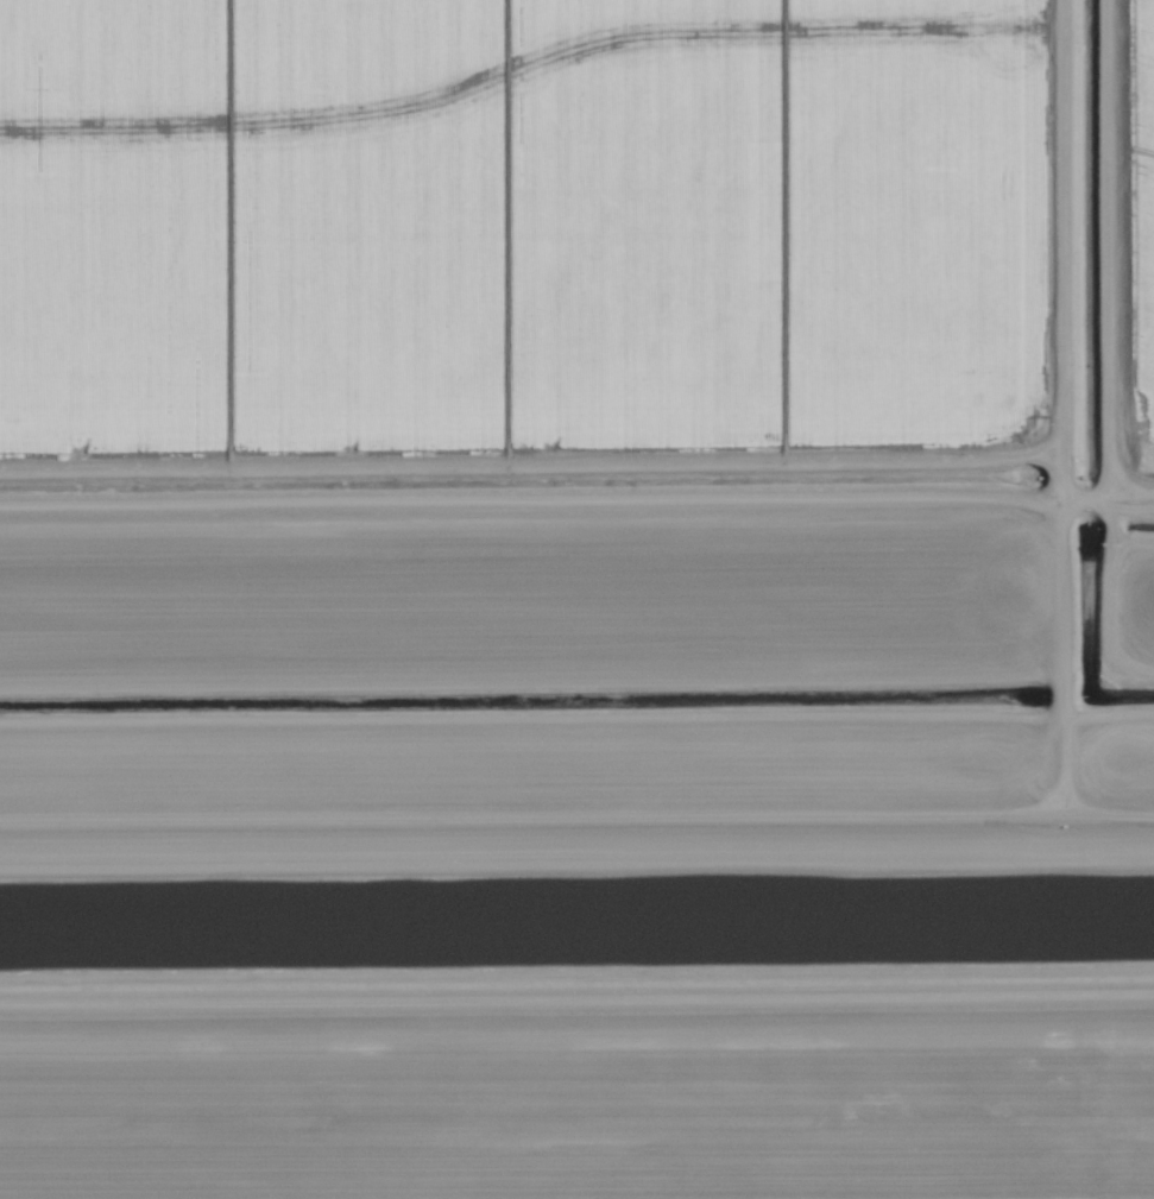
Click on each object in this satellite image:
crop: (573, 343)
road: (1066, 406)
road: (576, 818)
river: (576, 913)
road: (576, 980)

